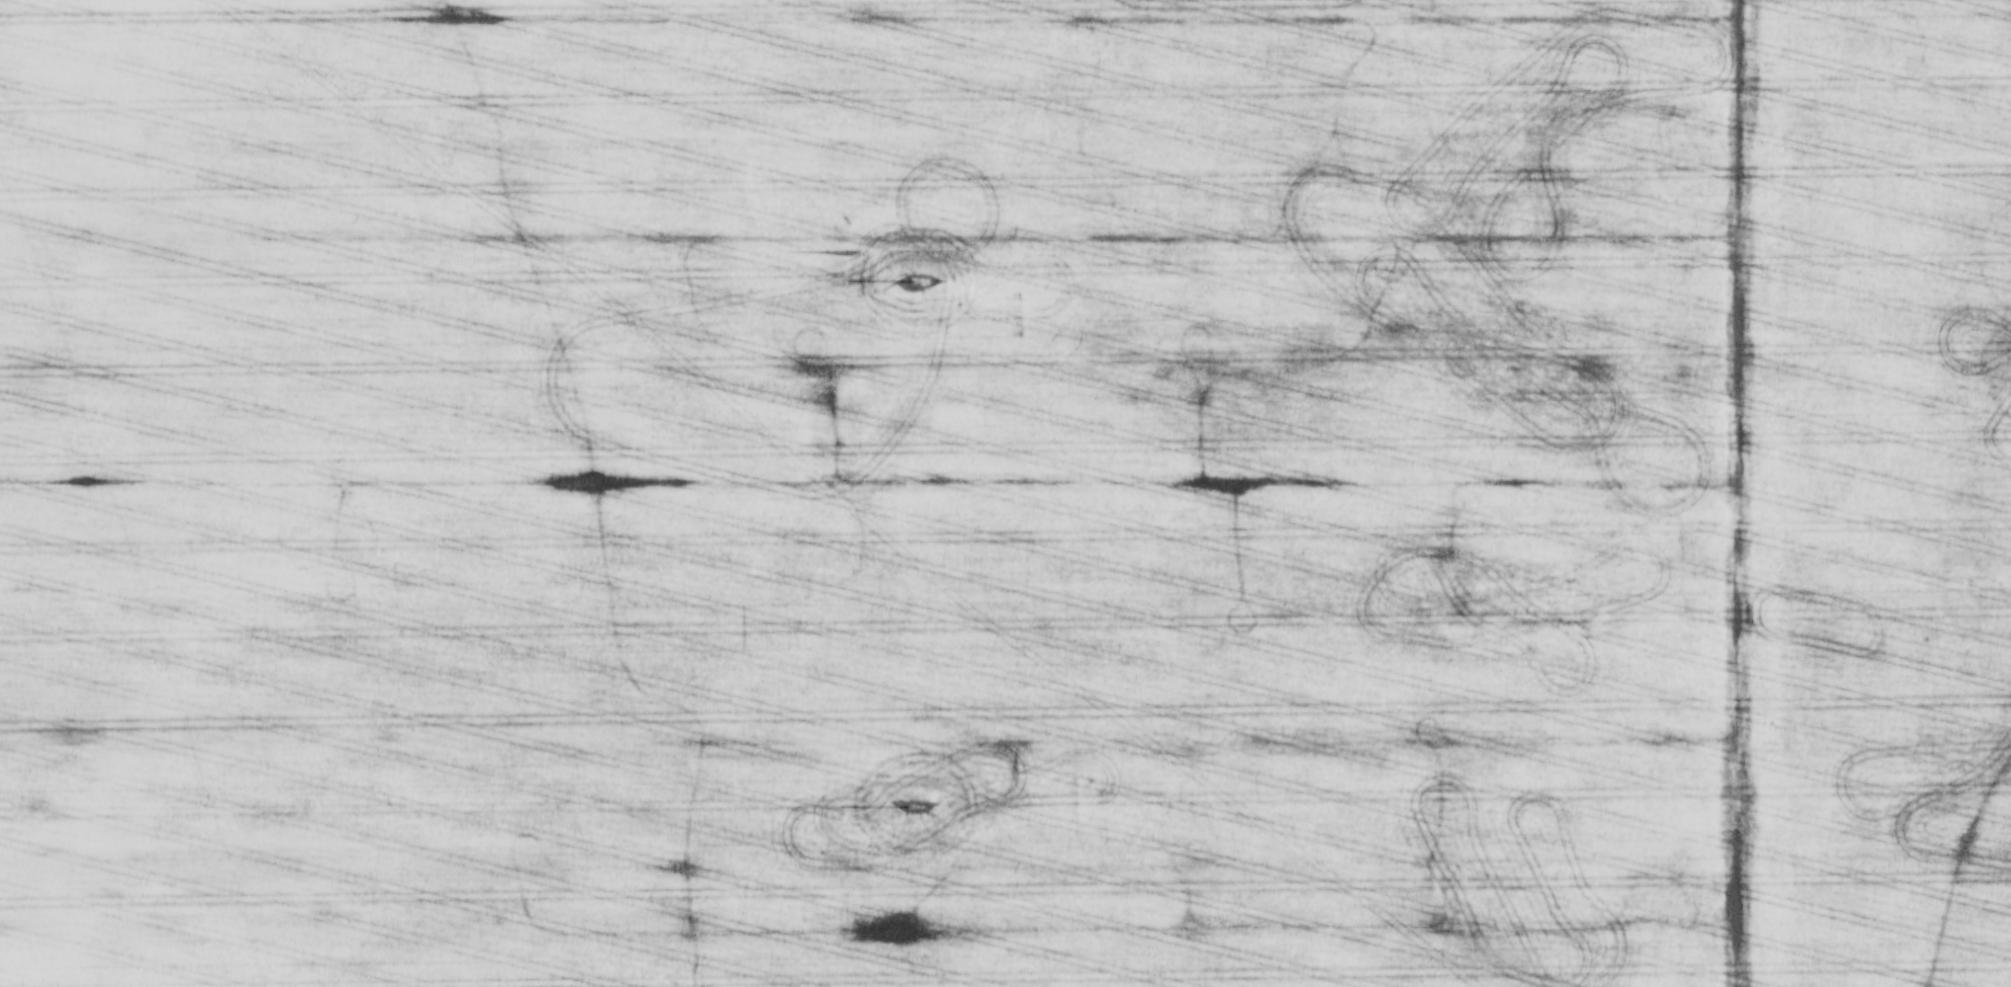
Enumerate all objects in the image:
power tower: (915, 279)
power tower: (914, 805)

